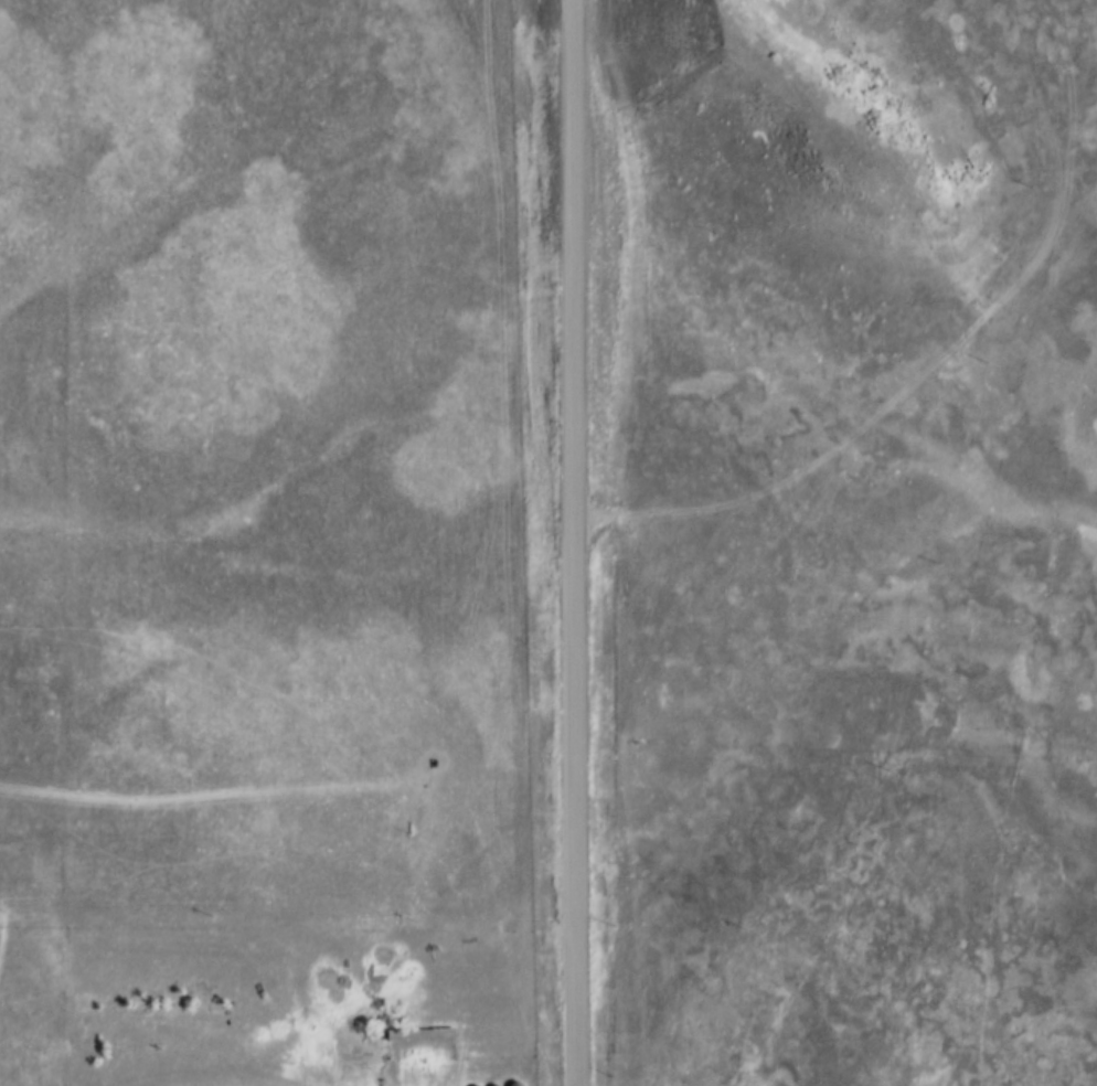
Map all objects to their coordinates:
road: (575, 535)

